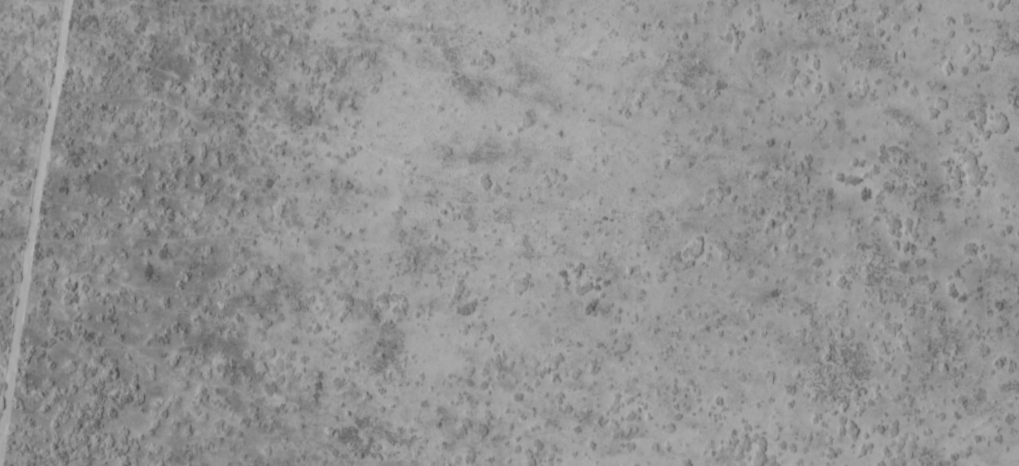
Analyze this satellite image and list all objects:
road: (25, 221)

